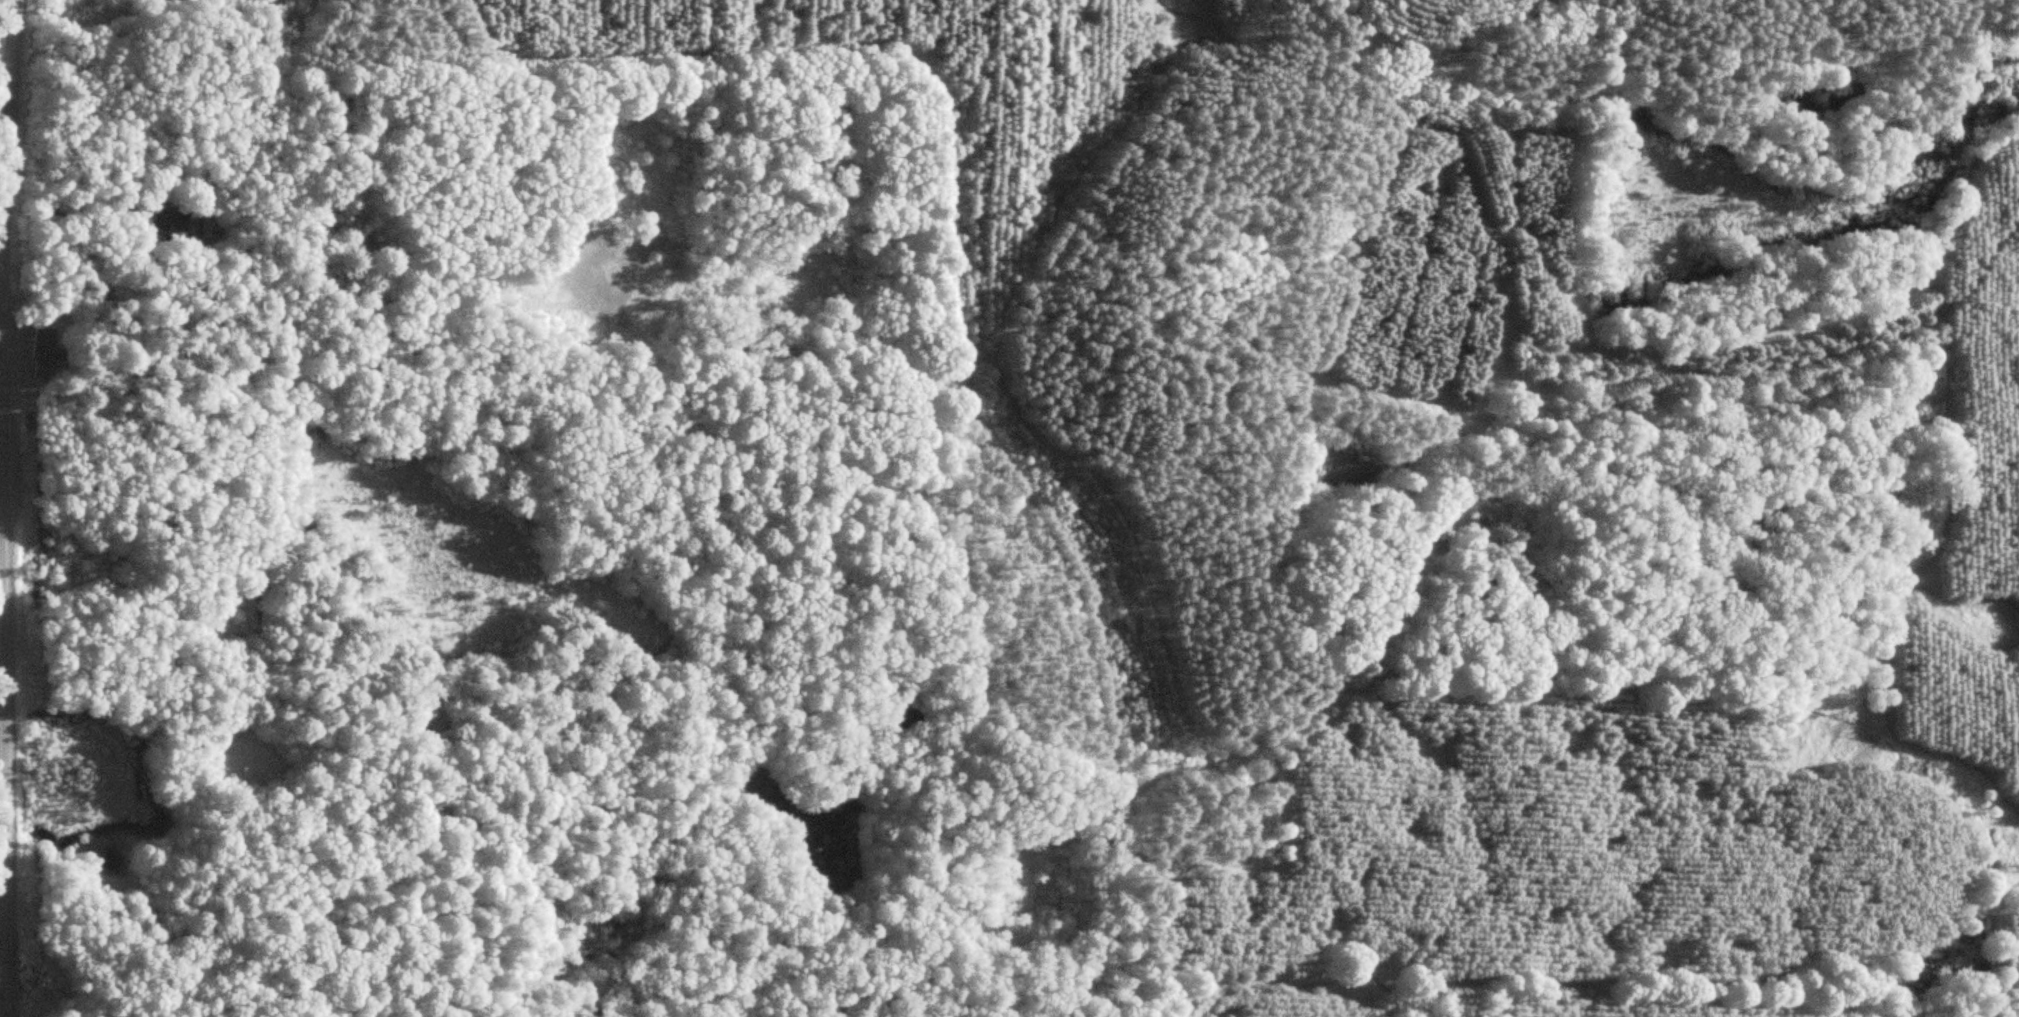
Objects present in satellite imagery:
road: (8, 138)
building: (42, 350)
road: (5, 698)

